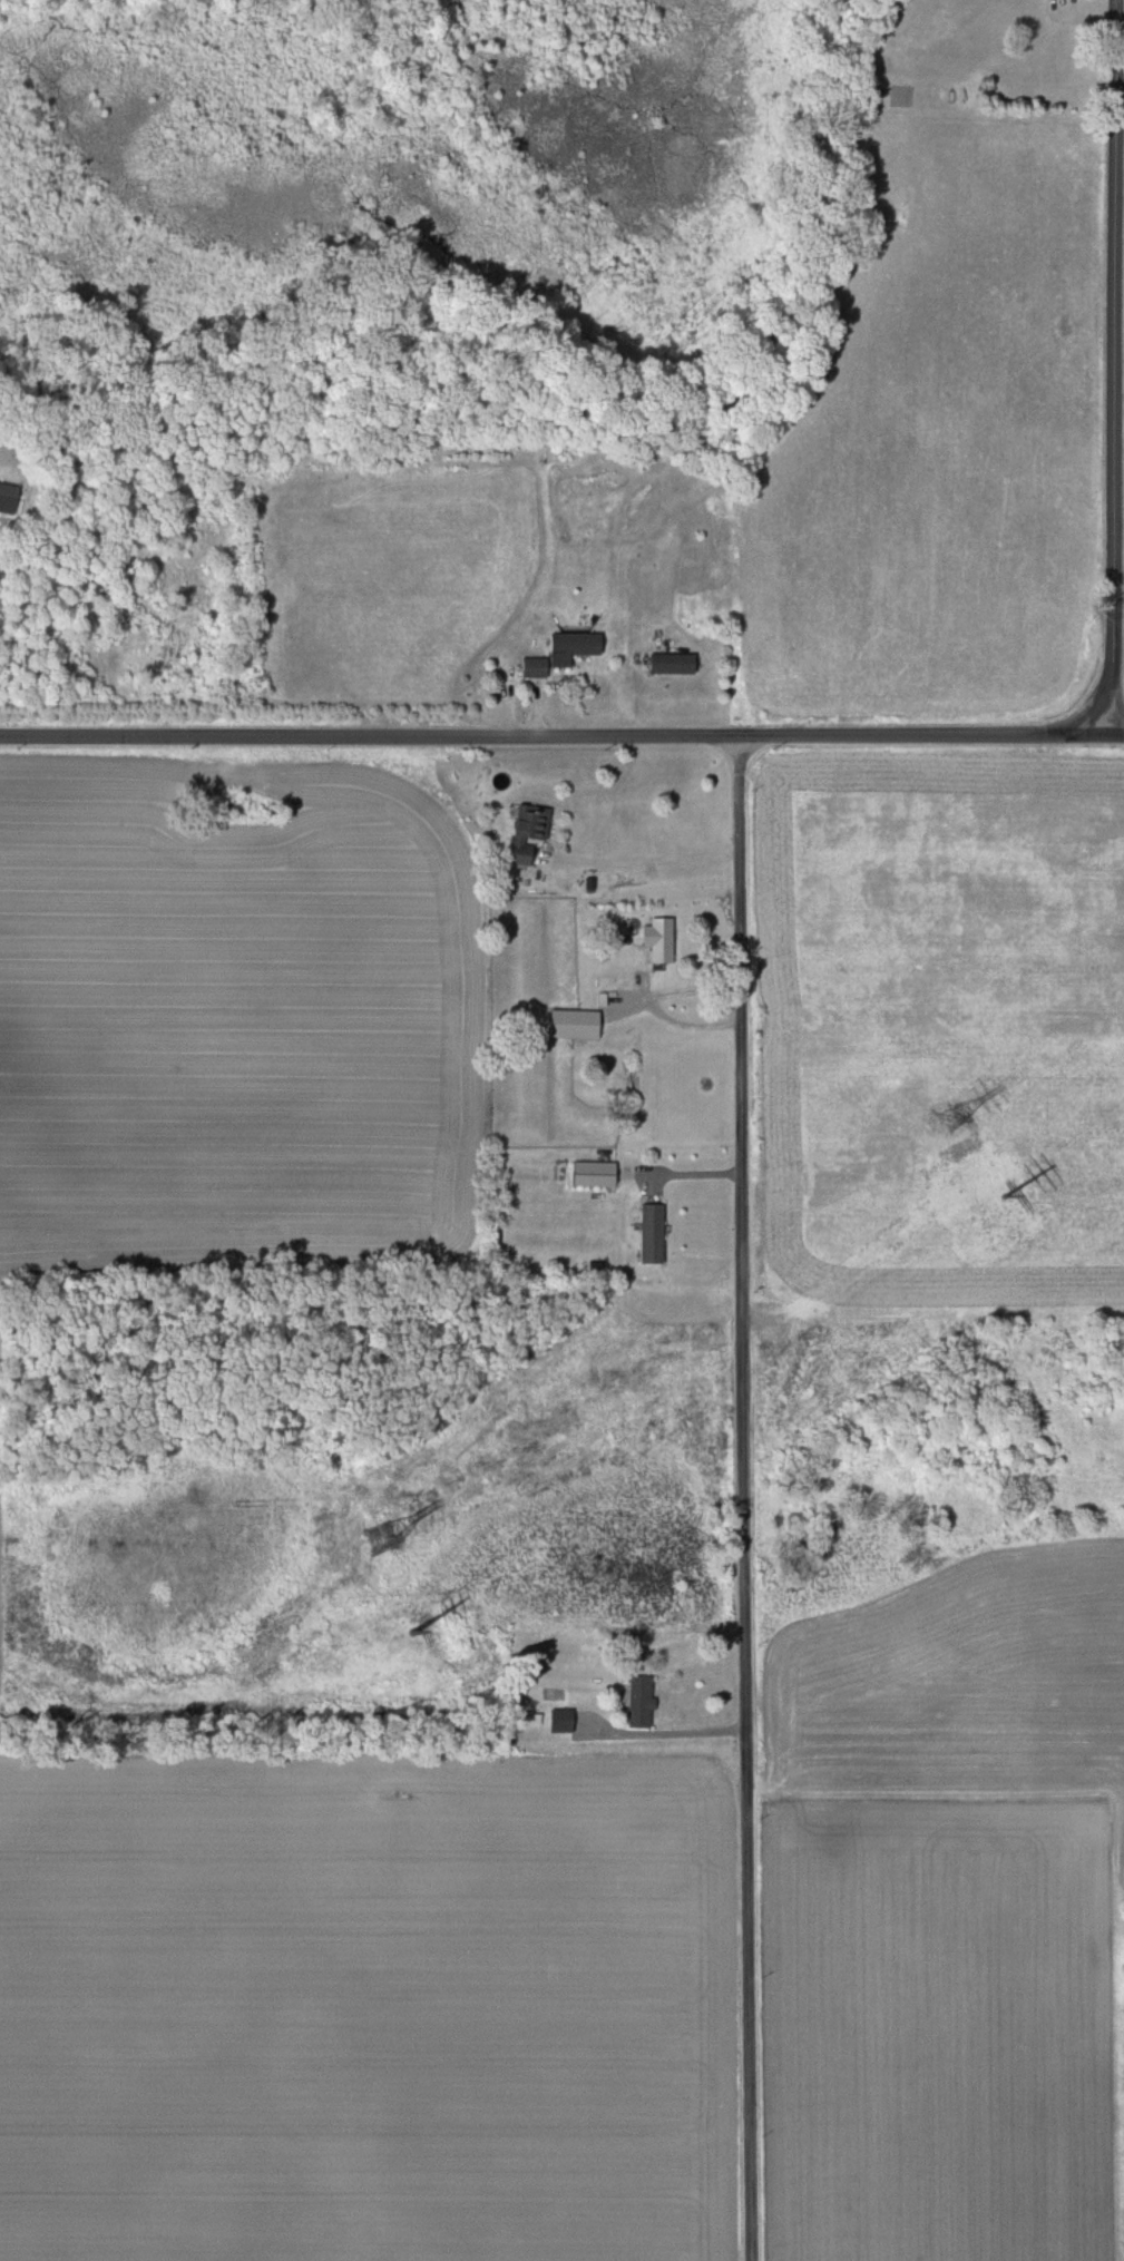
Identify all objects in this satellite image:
road: (1115, 368)
building: (565, 647)
building: (667, 663)
building: (528, 667)
road: (556, 735)
road: (1117, 735)
building: (521, 831)
road: (641, 860)
building: (655, 938)
building: (568, 1022)
power tower: (948, 1117)
building: (589, 1173)
power tower: (1000, 1194)
building: (645, 1232)
road: (745, 1498)
power tower: (378, 1539)
power tower: (410, 1629)
building: (636, 1701)
building: (558, 1720)
road: (676, 1741)

